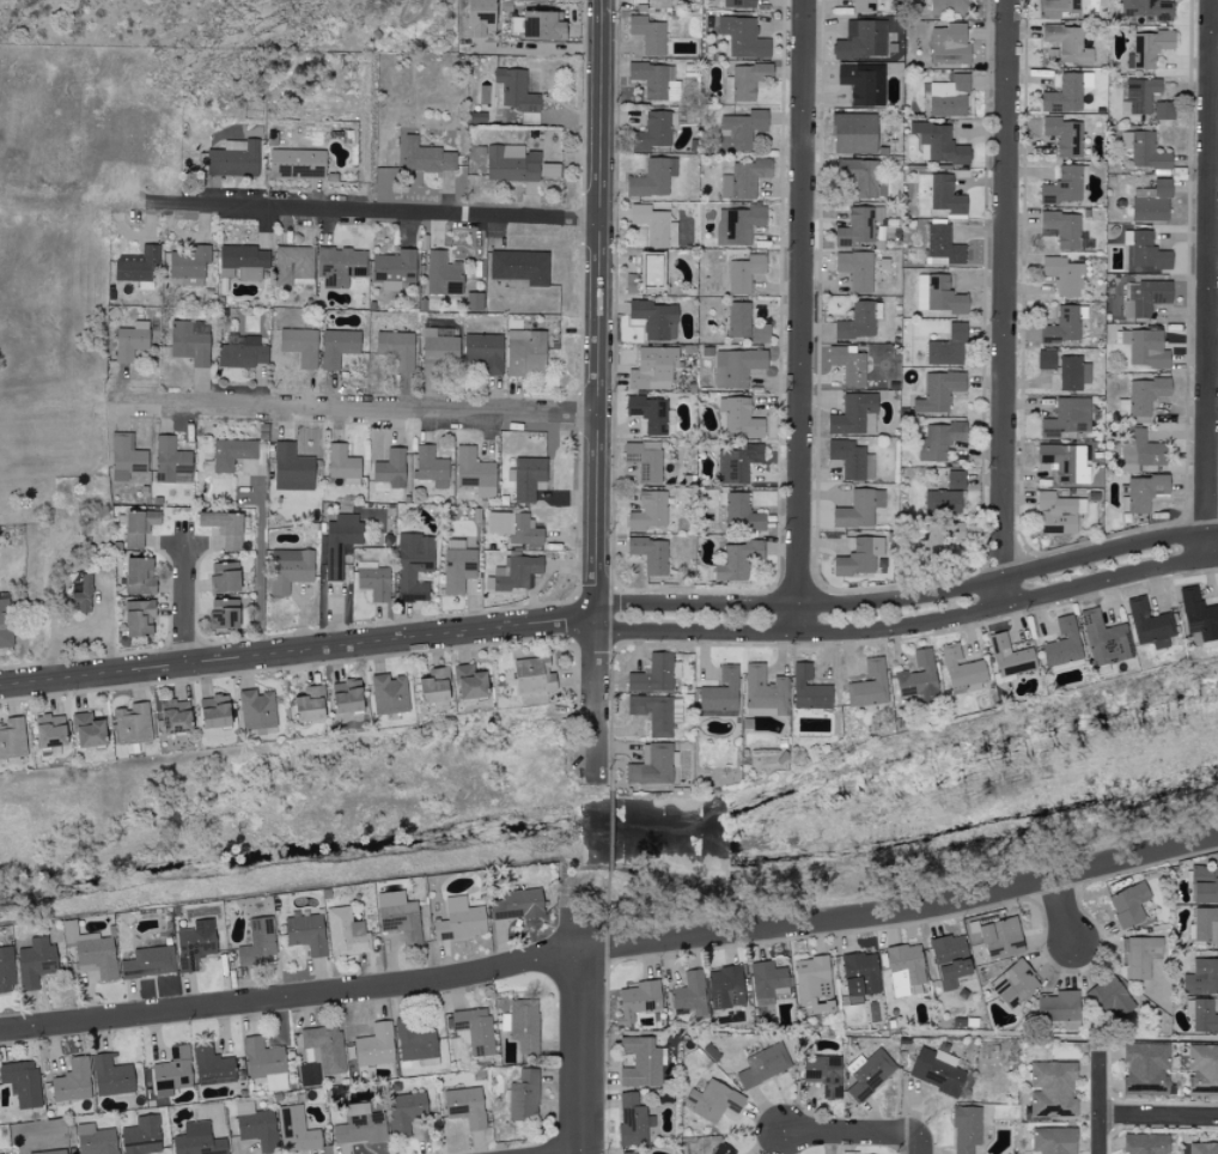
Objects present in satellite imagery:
building: (659, 4)
building: (739, 4)
building: (864, 6)
building: (1059, 6)
building: (950, 7)
building: (1147, 8)
building: (483, 17)
park: (236, 23)
building: (544, 24)
road: (81, 35)
building: (650, 35)
building: (744, 37)
building: (863, 38)
building: (1068, 43)
building: (950, 44)
building: (1149, 48)
building: (657, 80)
building: (747, 80)
building: (864, 83)
building: (517, 90)
building: (1066, 92)
building: (1141, 95)
building: (950, 96)
building: (1164, 110)
building: (742, 129)
building: (653, 132)
building: (855, 133)
building: (1065, 135)
building: (939, 144)
building: (1145, 150)
building: (235, 157)
building: (427, 157)
building: (298, 163)
building: (513, 163)
building: (550, 170)
building: (861, 176)
building: (653, 178)
building: (745, 178)
building: (1065, 186)
building: (939, 194)
building: (1153, 201)
road: (349, 211)
building: (738, 224)
building: (654, 225)
building: (859, 226)
building: (1065, 227)
building: (943, 245)
building: (1146, 250)
building: (244, 261)
building: (190, 263)
building: (294, 265)
building: (341, 266)
building: (520, 266)
building: (395, 268)
building: (857, 269)
building: (444, 273)
building: (744, 273)
building: (1064, 274)
road: (1207, 280)
building: (634, 283)
building: (938, 293)
building: (1146, 296)
road: (1003, 302)
road: (597, 308)
road: (798, 316)
building: (656, 318)
building: (738, 318)
building: (857, 322)
building: (1066, 324)
building: (760, 333)
building: (132, 341)
building: (191, 341)
building: (302, 345)
building: (339, 346)
building: (949, 347)
building: (1146, 347)
building: (398, 348)
building: (440, 350)
building: (486, 351)
building: (243, 352)
building: (526, 352)
building: (1047, 358)
building: (849, 364)
building: (653, 366)
building: (737, 366)
building: (1074, 372)
building: (939, 390)
building: (1143, 396)
road: (354, 406)
building: (650, 412)
building: (853, 413)
building: (742, 417)
building: (1068, 417)
building: (940, 441)
building: (1138, 450)
building: (232, 453)
building: (127, 457)
building: (171, 458)
building: (646, 460)
building: (1065, 461)
building: (738, 462)
building: (345, 463)
building: (391, 466)
building: (432, 467)
building: (293, 468)
building: (476, 472)
building: (528, 476)
building: (957, 479)
building: (1145, 491)
building: (944, 502)
building: (865, 509)
building: (650, 511)
building: (741, 512)
building: (1060, 512)
building: (141, 527)
building: (227, 527)
building: (516, 527)
building: (942, 534)
building: (340, 542)
building: (651, 553)
building: (857, 558)
building: (738, 560)
building: (414, 565)
road: (257, 567)
building: (290, 569)
building: (459, 569)
building: (516, 572)
building: (141, 575)
building: (227, 576)
building: (374, 581)
building: (84, 594)
road: (908, 597)
road: (185, 605)
building: (227, 613)
building: (1200, 614)
building: (141, 618)
building: (5, 620)
road: (908, 625)
building: (1104, 639)
building: (1064, 643)
road: (297, 651)
building: (1011, 656)
building: (963, 669)
building: (656, 674)
building: (535, 675)
building: (919, 676)
building: (471, 682)
building: (870, 685)
building: (437, 686)
building: (810, 688)
building: (765, 692)
building: (390, 693)
building: (720, 693)
building: (349, 696)
road: (596, 698)
building: (312, 704)
building: (257, 709)
building: (218, 711)
building: (657, 712)
building: (177, 716)
building: (134, 723)
building: (91, 729)
building: (53, 730)
building: (13, 737)
building: (652, 766)
building: (1206, 883)
building: (1129, 904)
building: (518, 905)
building: (400, 916)
road: (1061, 916)
building: (461, 921)
building: (1205, 927)
building: (347, 933)
building: (306, 934)
building: (1003, 937)
building: (258, 942)
building: (196, 943)
building: (92, 952)
road: (611, 953)
building: (1139, 955)
building: (952, 959)
building: (36, 961)
building: (150, 962)
building: (906, 968)
building: (7, 971)
building: (861, 973)
building: (1202, 977)
building: (815, 984)
building: (1015, 984)
building: (727, 988)
building: (692, 994)
building: (1110, 996)
building: (640, 1000)
building: (1202, 1015)
building: (523, 1025)
building: (475, 1030)
road: (579, 1033)
building: (418, 1040)
building: (376, 1045)
building: (324, 1049)
building: (266, 1063)
building: (640, 1063)
building: (766, 1064)
building: (213, 1065)
building: (1202, 1068)
building: (1146, 1069)
building: (938, 1070)
building: (173, 1071)
building: (869, 1074)
building: (826, 1075)
building: (112, 1076)
building: (73, 1081)
building: (23, 1082)
building: (1053, 1089)
building: (525, 1097)
building: (714, 1100)
building: (467, 1106)
road: (1097, 1106)
building: (407, 1112)
road: (1157, 1114)
building: (633, 1120)
building: (360, 1125)
building: (257, 1126)
building: (967, 1129)
building: (298, 1130)
road: (851, 1132)
building: (142, 1136)
building: (96, 1140)
building: (199, 1140)
building: (1054, 1141)
building: (1147, 1143)
road: (919, 1146)
building: (1204, 1148)
building: (724, 1149)
building: (49, 1152)
building: (629, 1153)

